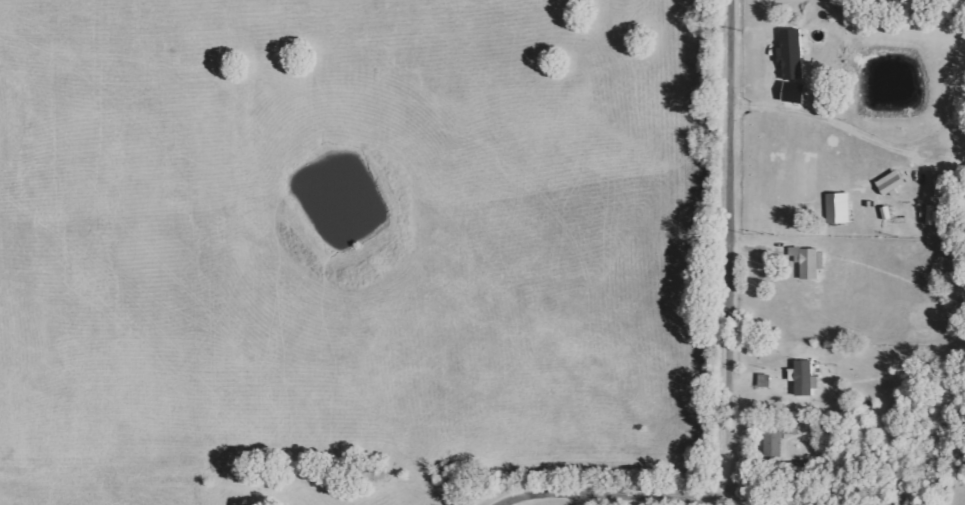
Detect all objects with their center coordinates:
building: (790, 53)
road: (833, 121)
building: (889, 182)
building: (837, 208)
building: (808, 262)
road: (728, 358)
building: (803, 378)
building: (772, 442)

